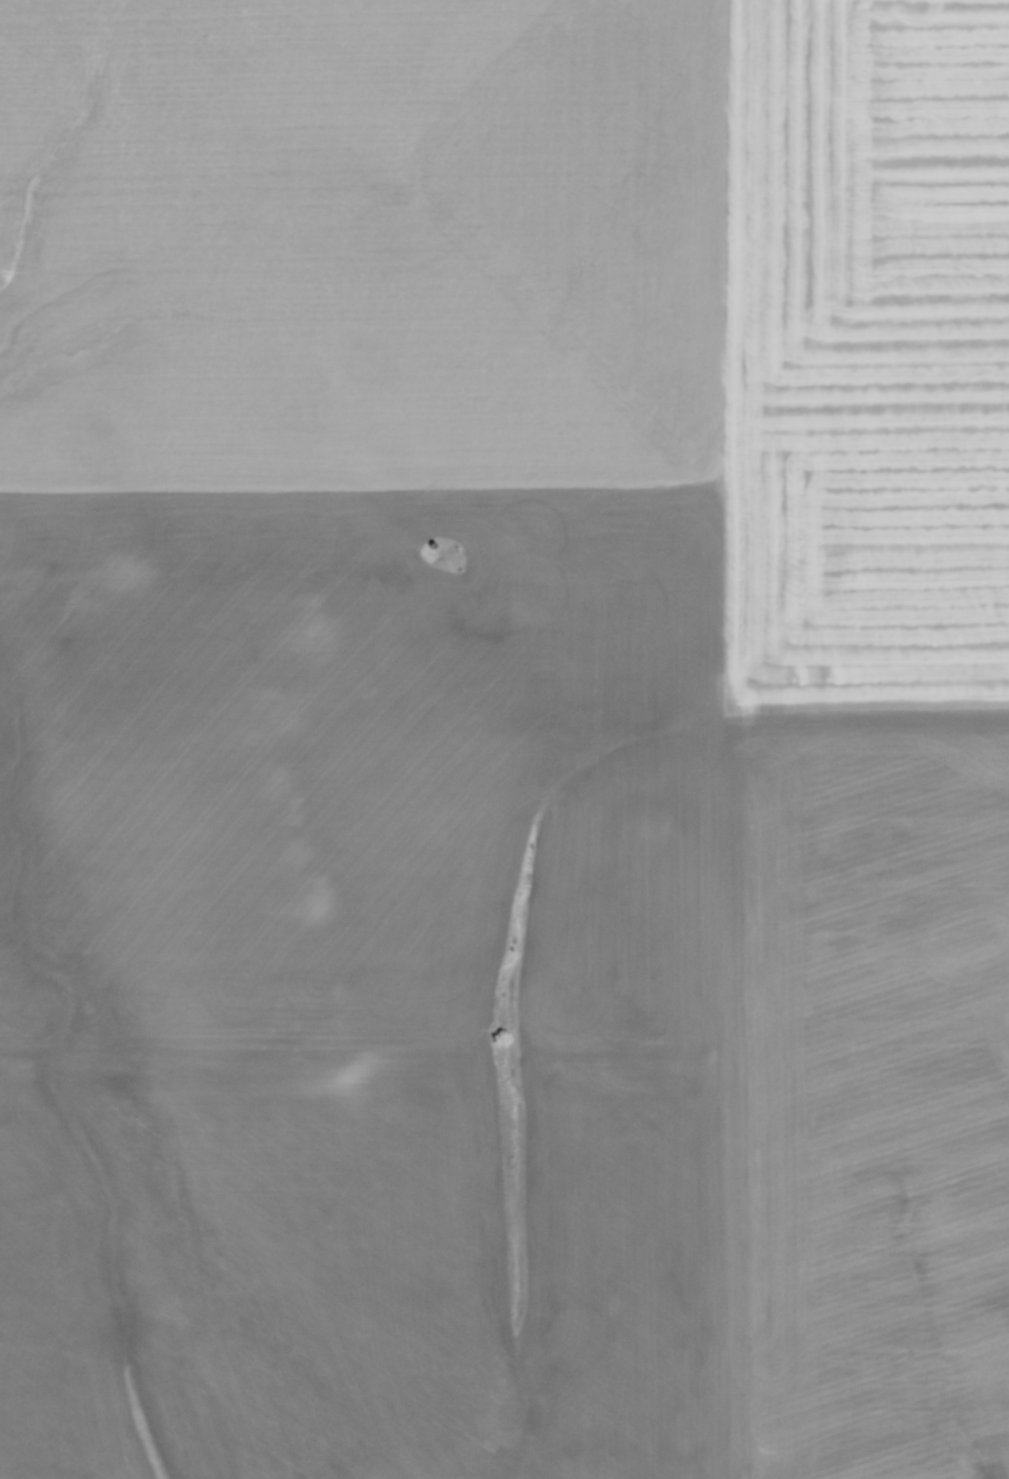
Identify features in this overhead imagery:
crop: (504, 739)

